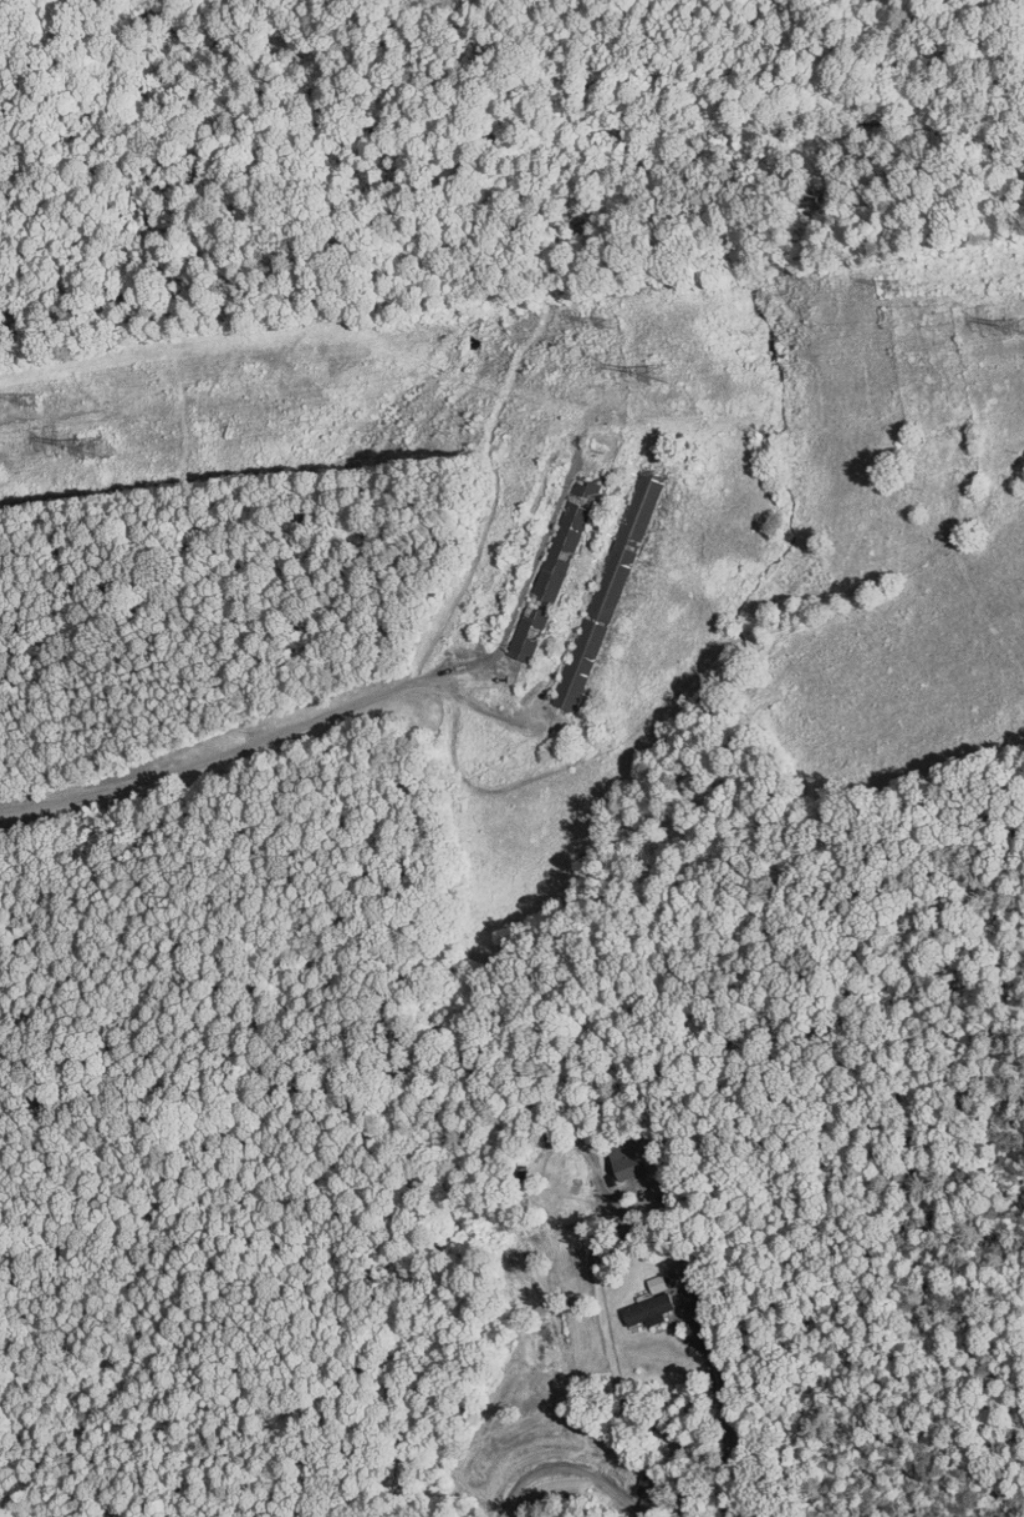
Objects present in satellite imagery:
power tower: (904, 292)
power tower: (618, 329)
power tower: (675, 377)
power tower: (37, 406)
power tower: (107, 448)
building: (553, 534)
building: (515, 629)
road: (267, 741)
building: (615, 1159)
building: (637, 1299)
road: (680, 1318)
road: (728, 1431)
road: (569, 1479)

